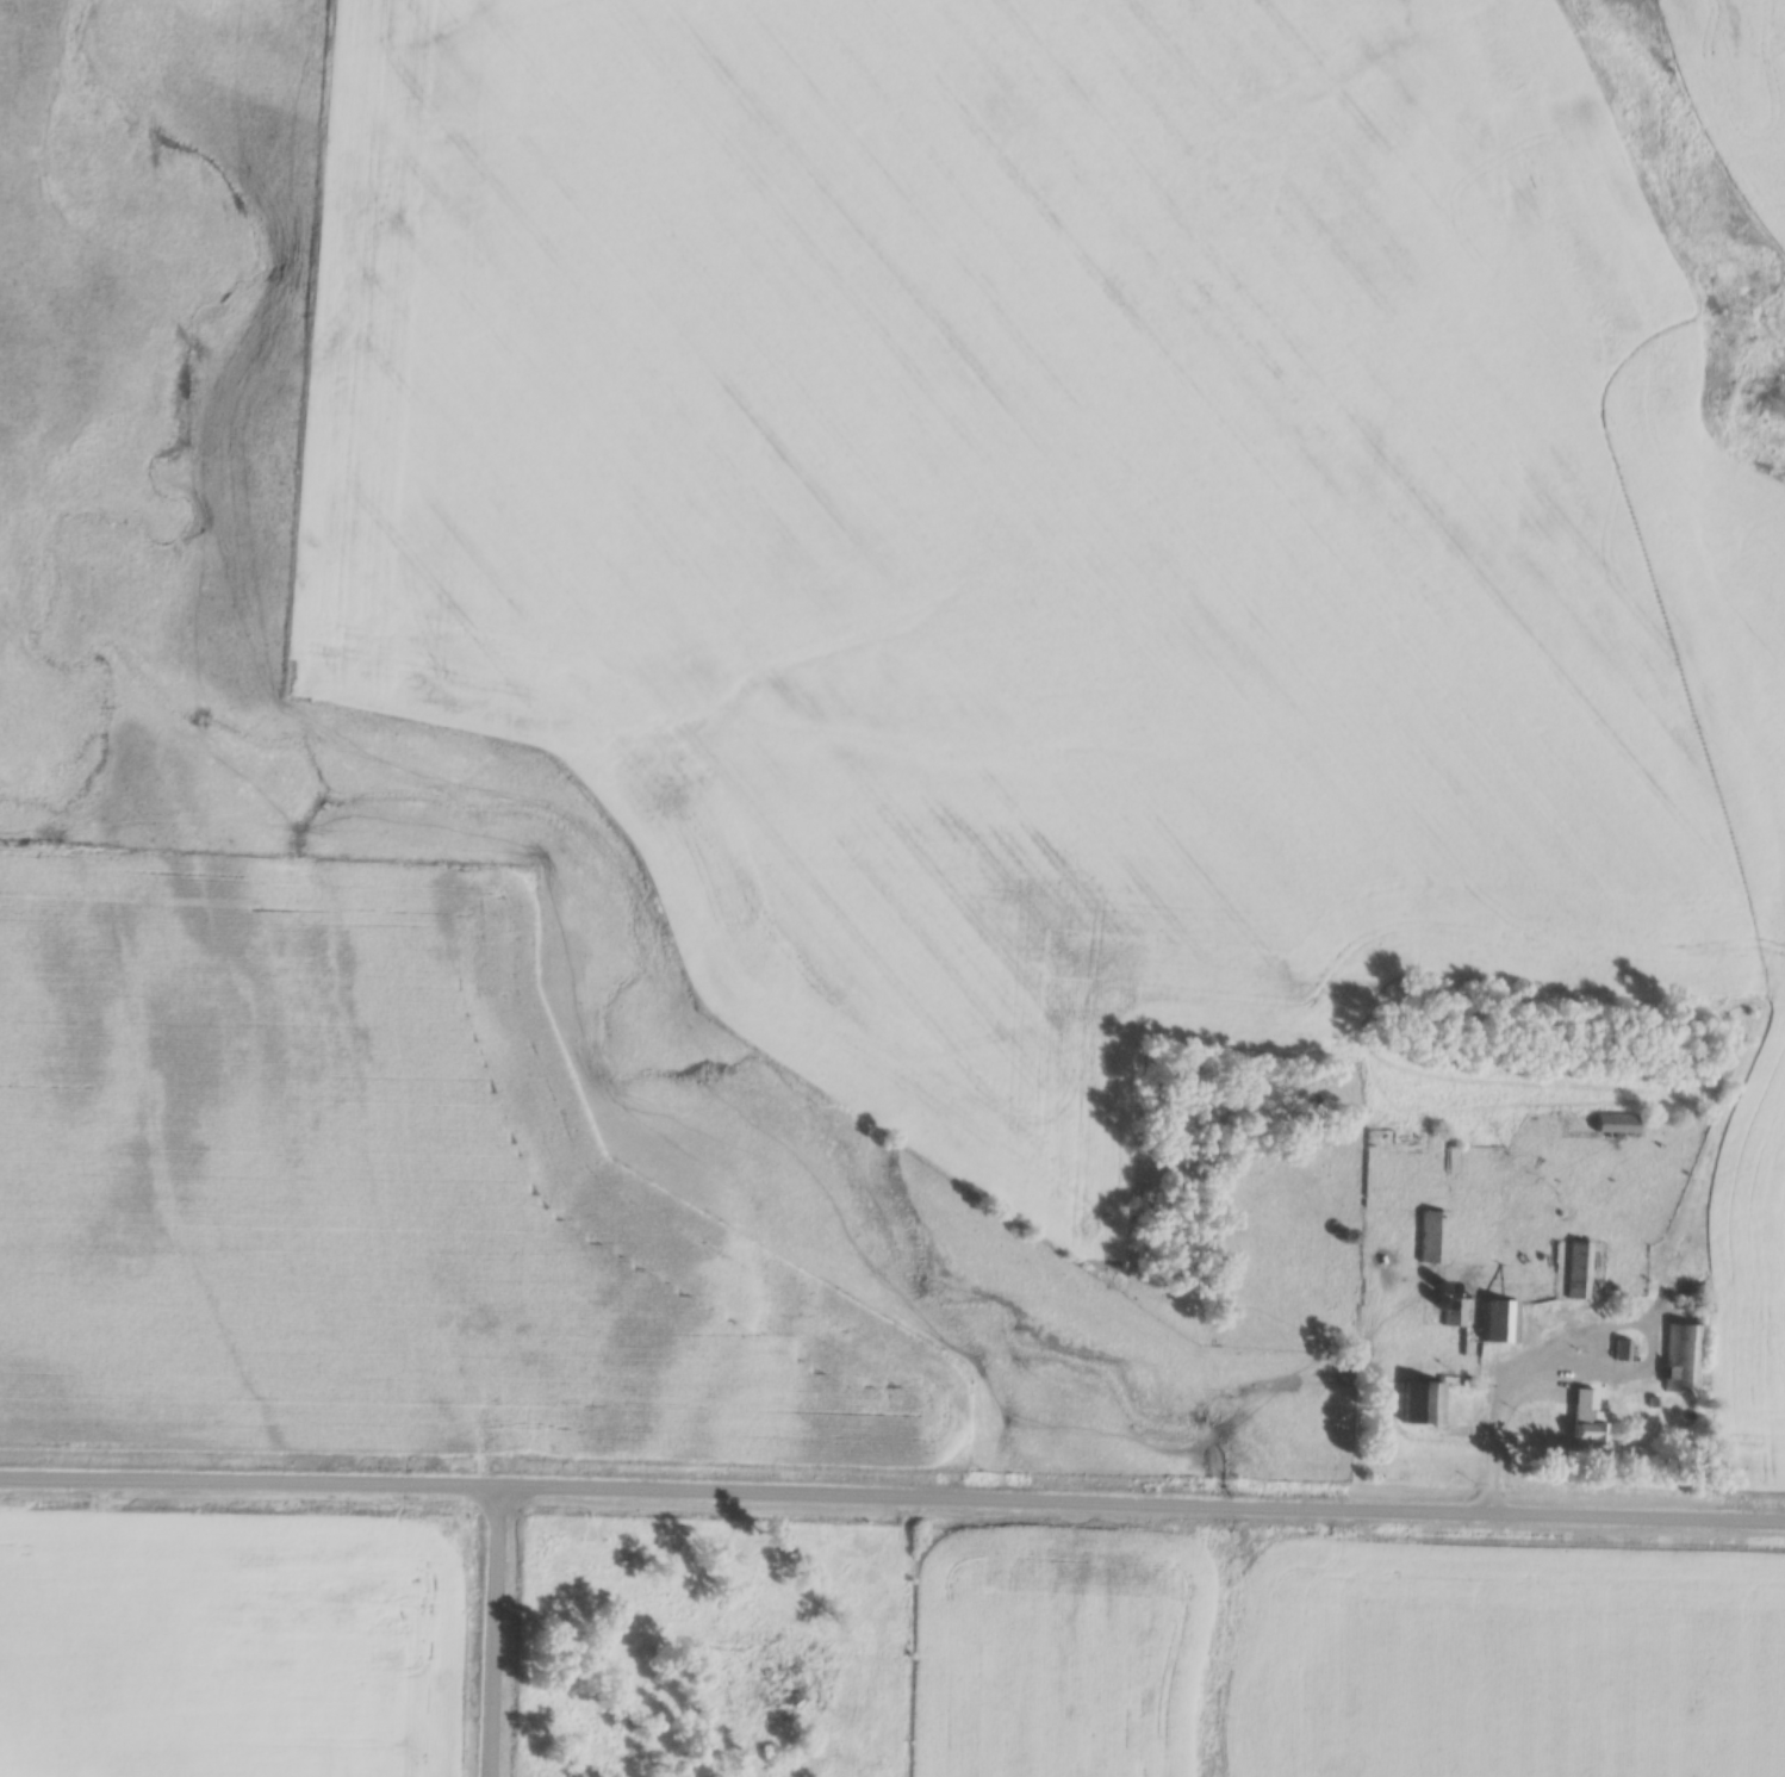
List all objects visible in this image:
crop: (1736, 88)
building: (1613, 1123)
building: (1431, 1238)
building: (1576, 1270)
building: (1498, 1322)
building: (1619, 1350)
building: (1681, 1359)
road: (1507, 1392)
building: (1420, 1404)
building: (1585, 1419)
road: (893, 1503)
road: (489, 1633)

